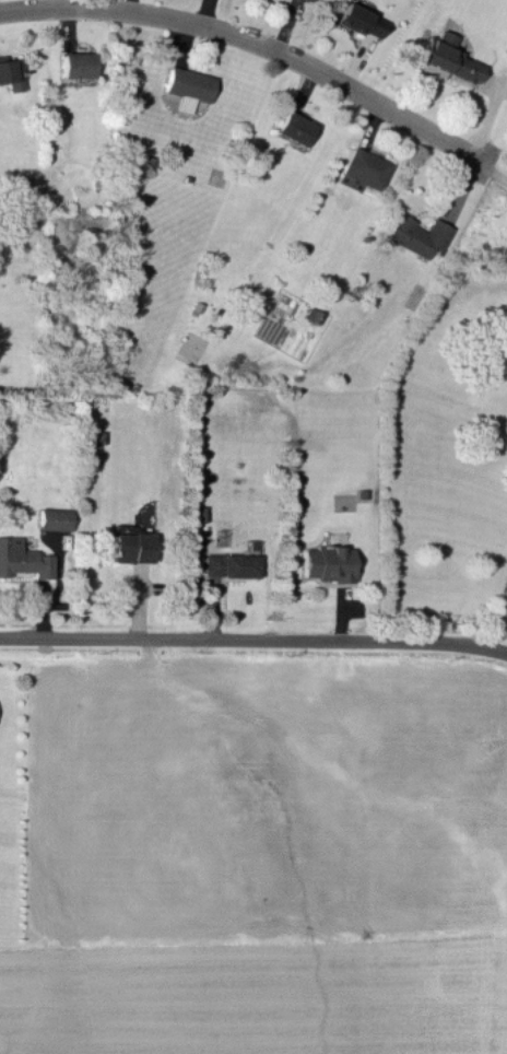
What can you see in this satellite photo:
building: (308, 0)
building: (359, 20)
road: (255, 40)
building: (445, 58)
building: (75, 63)
building: (11, 72)
building: (187, 86)
building: (293, 127)
building: (364, 167)
road: (493, 173)
building: (415, 234)
building: (54, 517)
building: (130, 546)
building: (22, 558)
building: (325, 562)
building: (228, 563)
road: (494, 617)
road: (253, 641)

